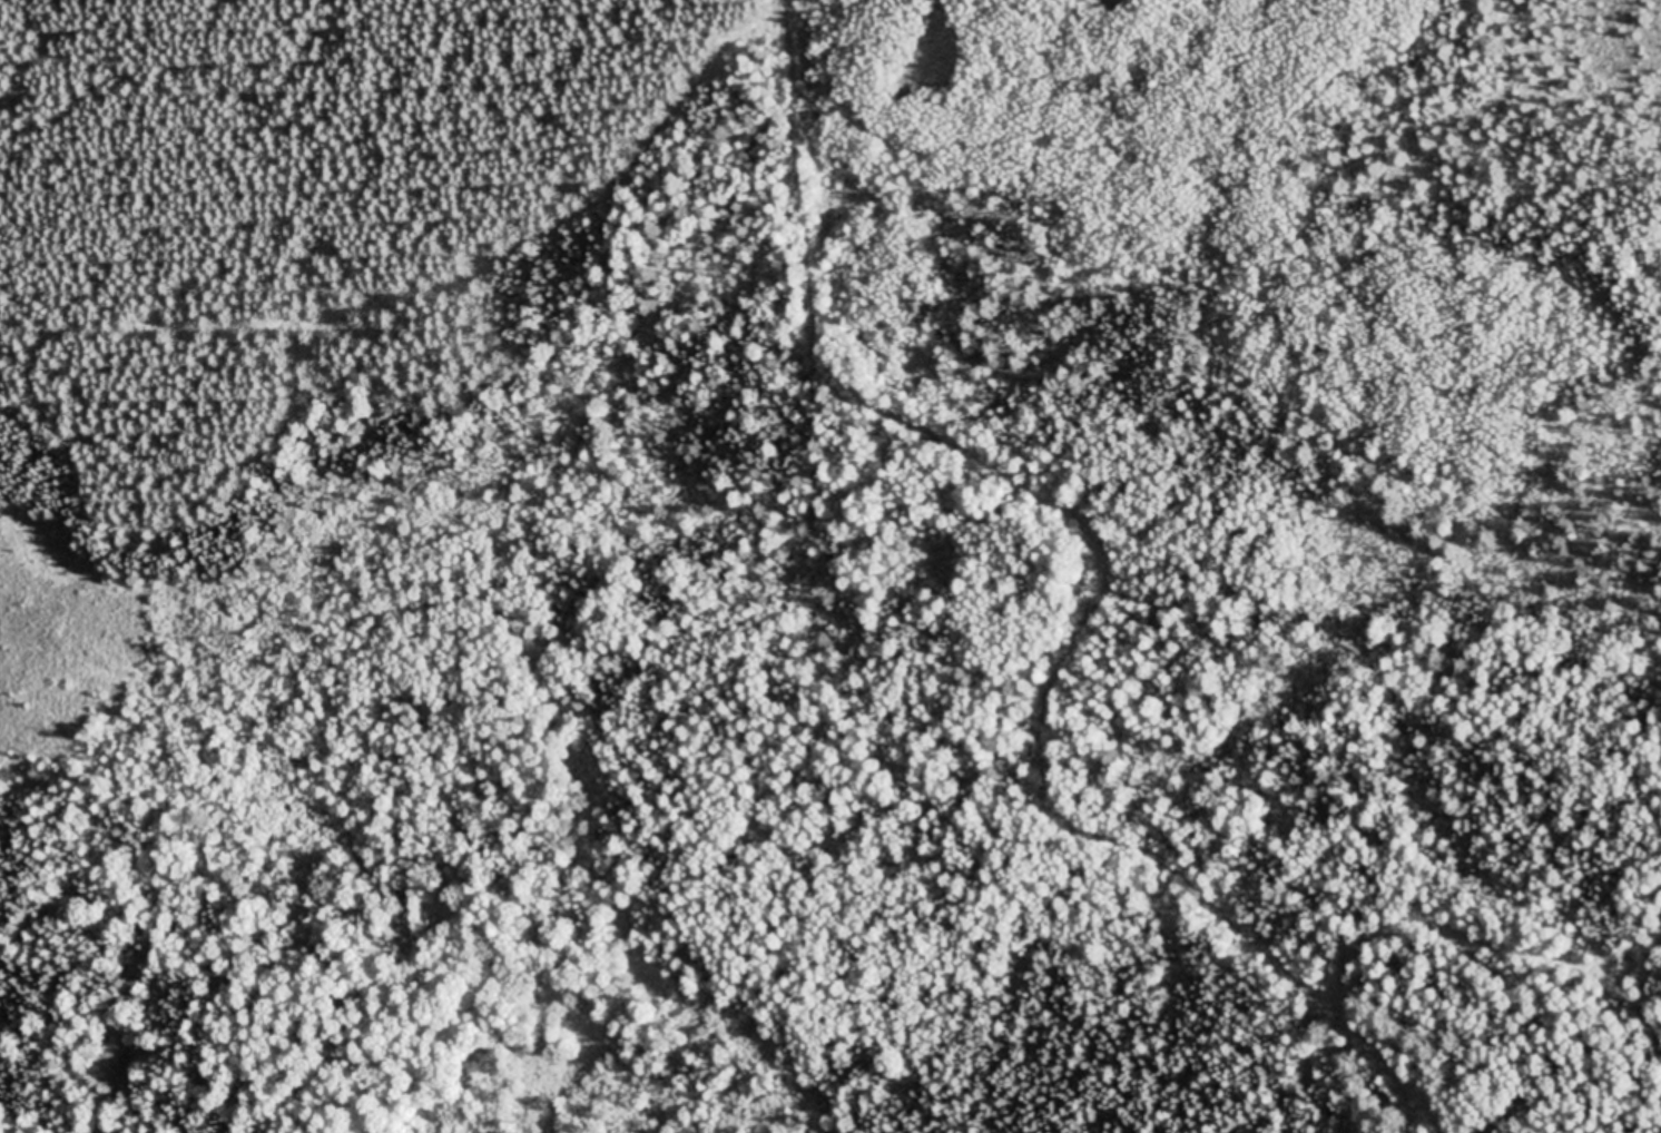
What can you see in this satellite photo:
road: (1069, 607)

